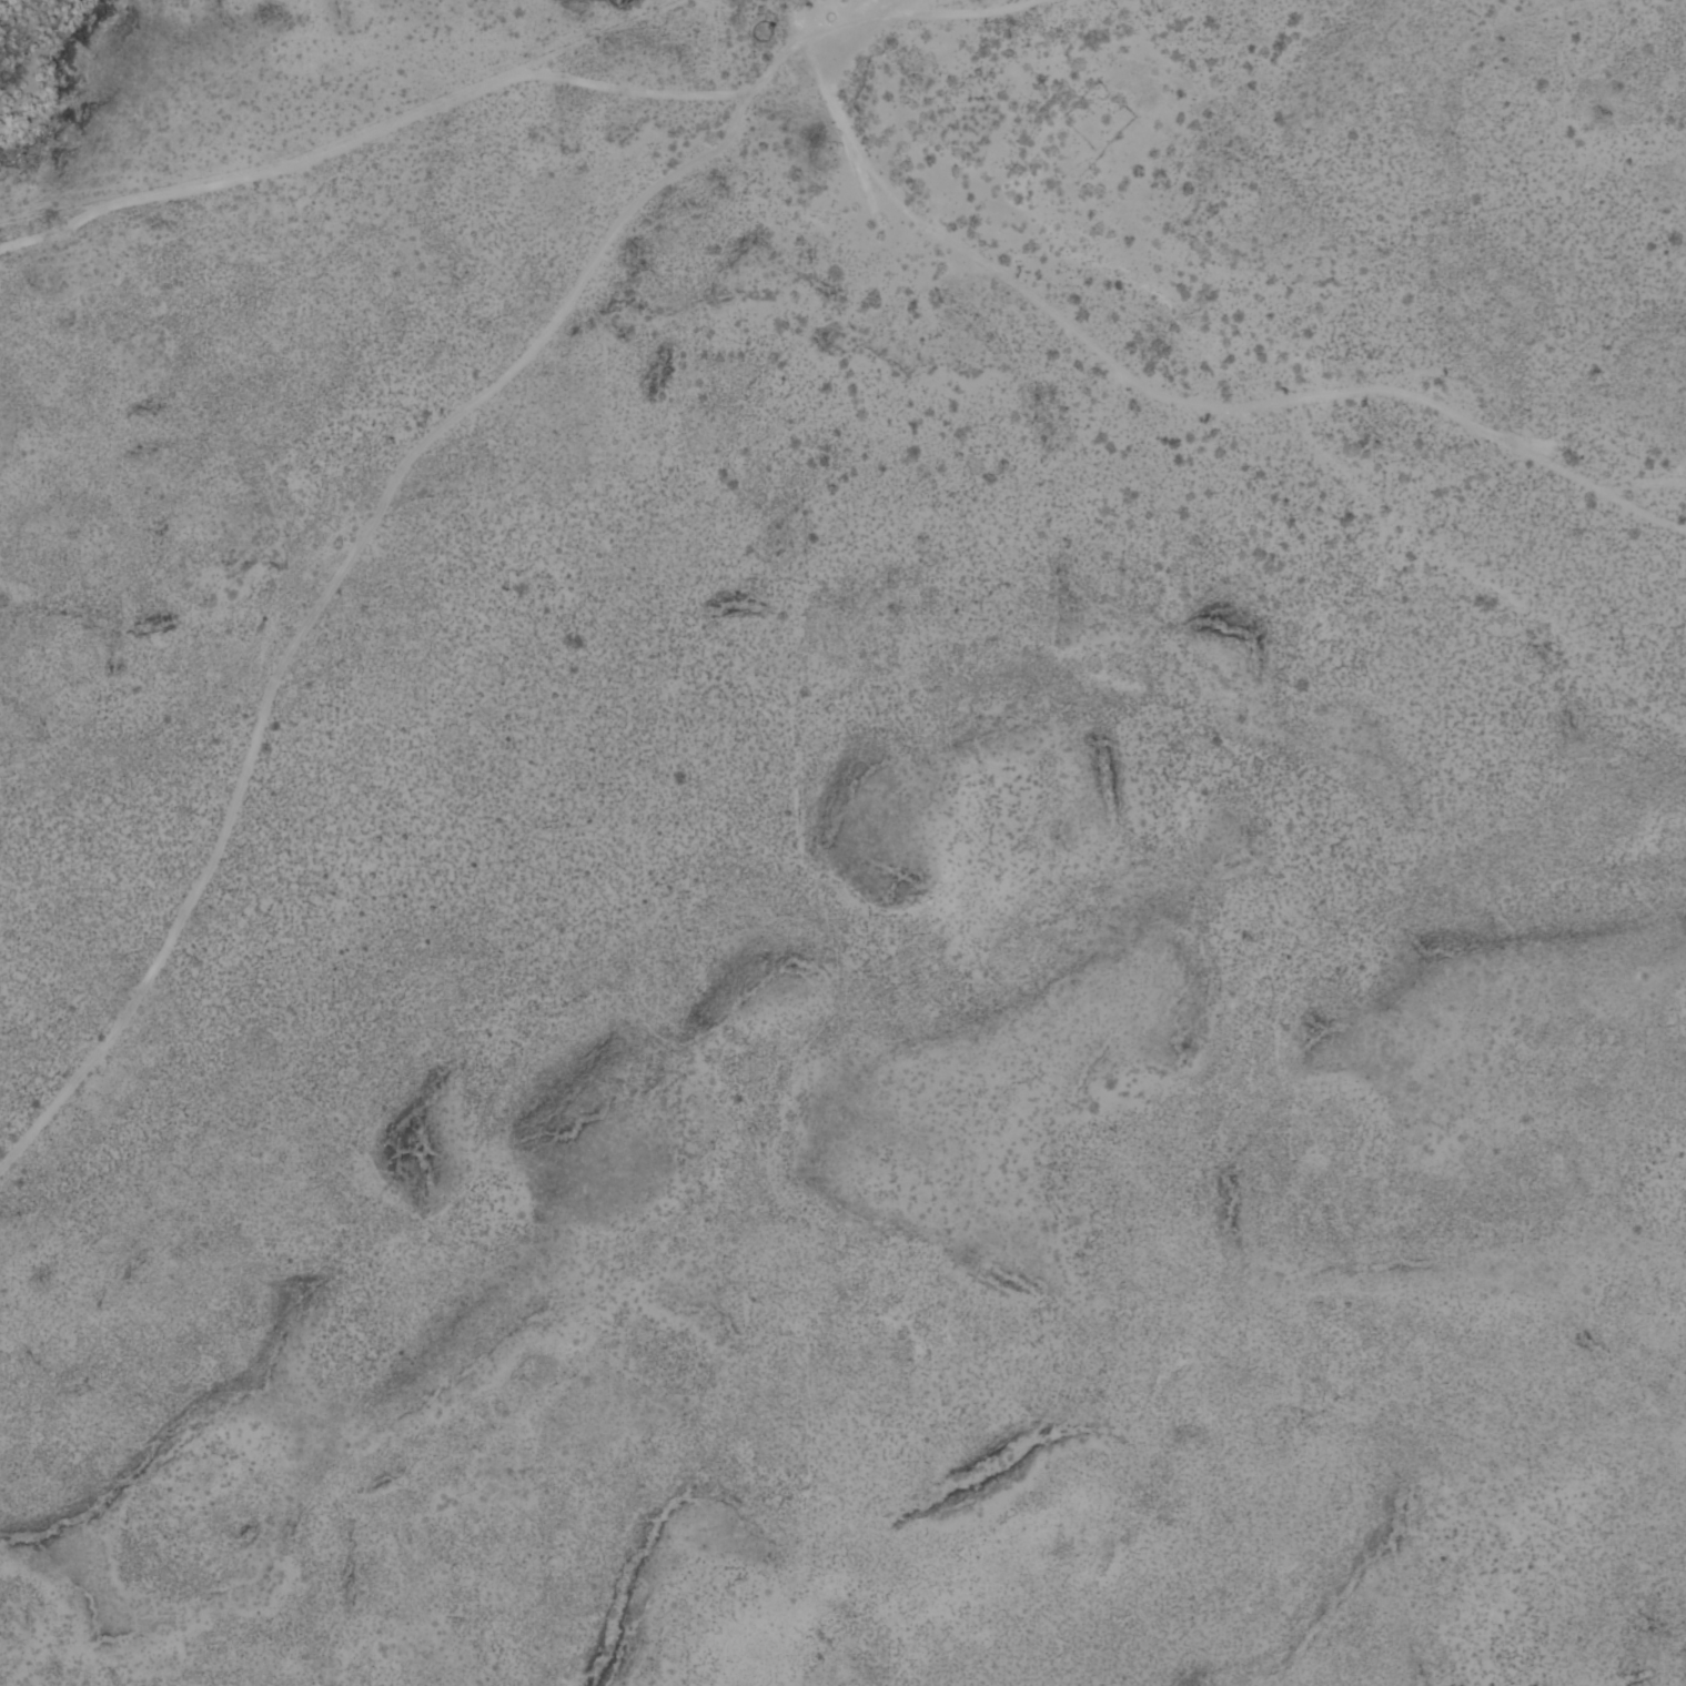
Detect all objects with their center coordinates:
road: (367, 501)

